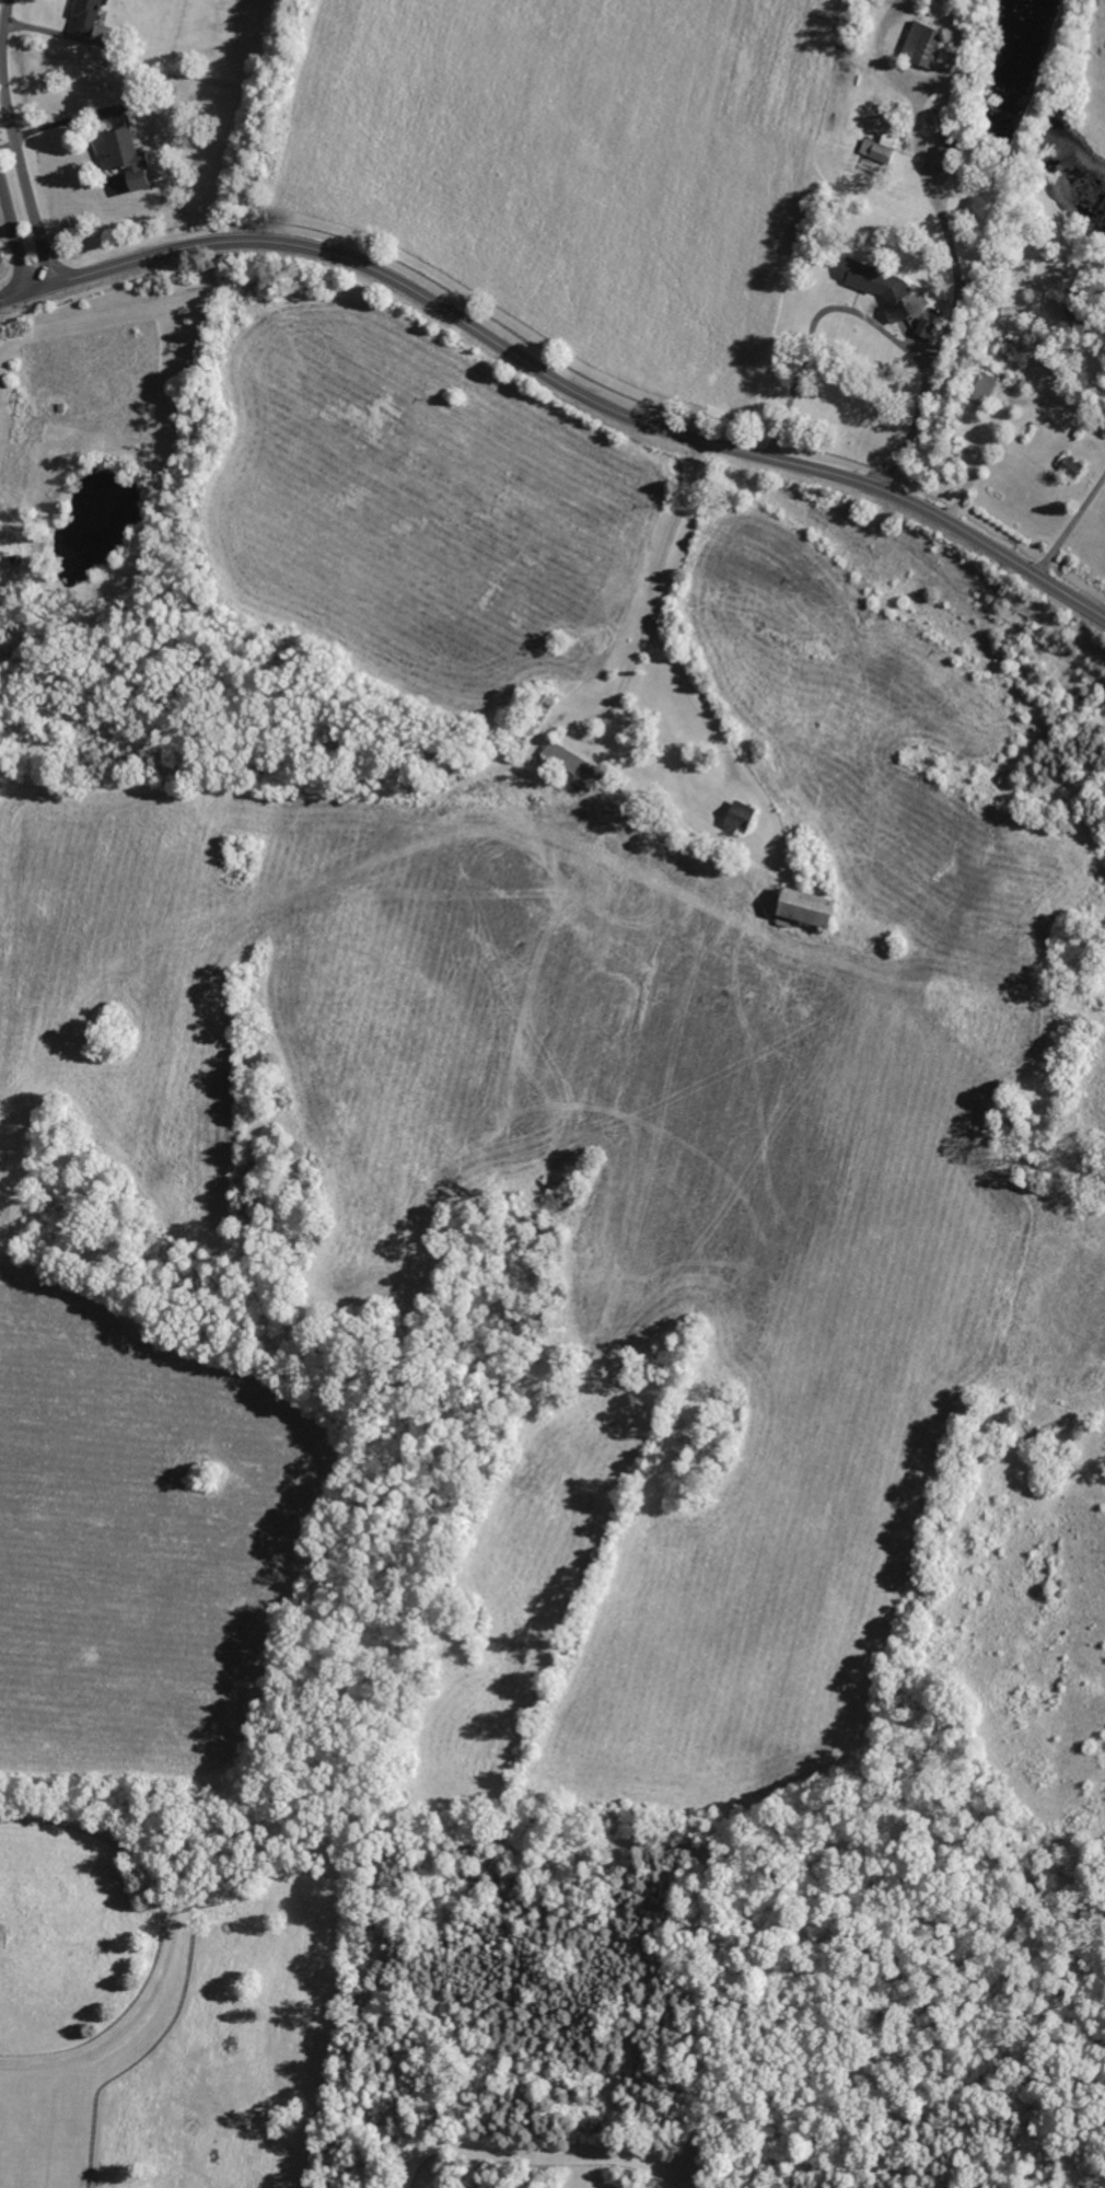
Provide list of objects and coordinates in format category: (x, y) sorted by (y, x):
building: (89, 15)
road: (0, 24)
building: (924, 44)
road: (944, 55)
road: (873, 56)
building: (953, 138)
road: (5, 141)
road: (11, 143)
building: (881, 149)
building: (951, 158)
building: (131, 159)
road: (946, 241)
road: (11, 243)
building: (880, 287)
road: (866, 315)
building: (1080, 315)
building: (927, 326)
road: (557, 380)
building: (984, 389)
road: (1002, 412)
building: (1072, 466)
road: (1071, 526)
road: (656, 612)
building: (578, 764)
building: (744, 817)
building: (812, 908)

